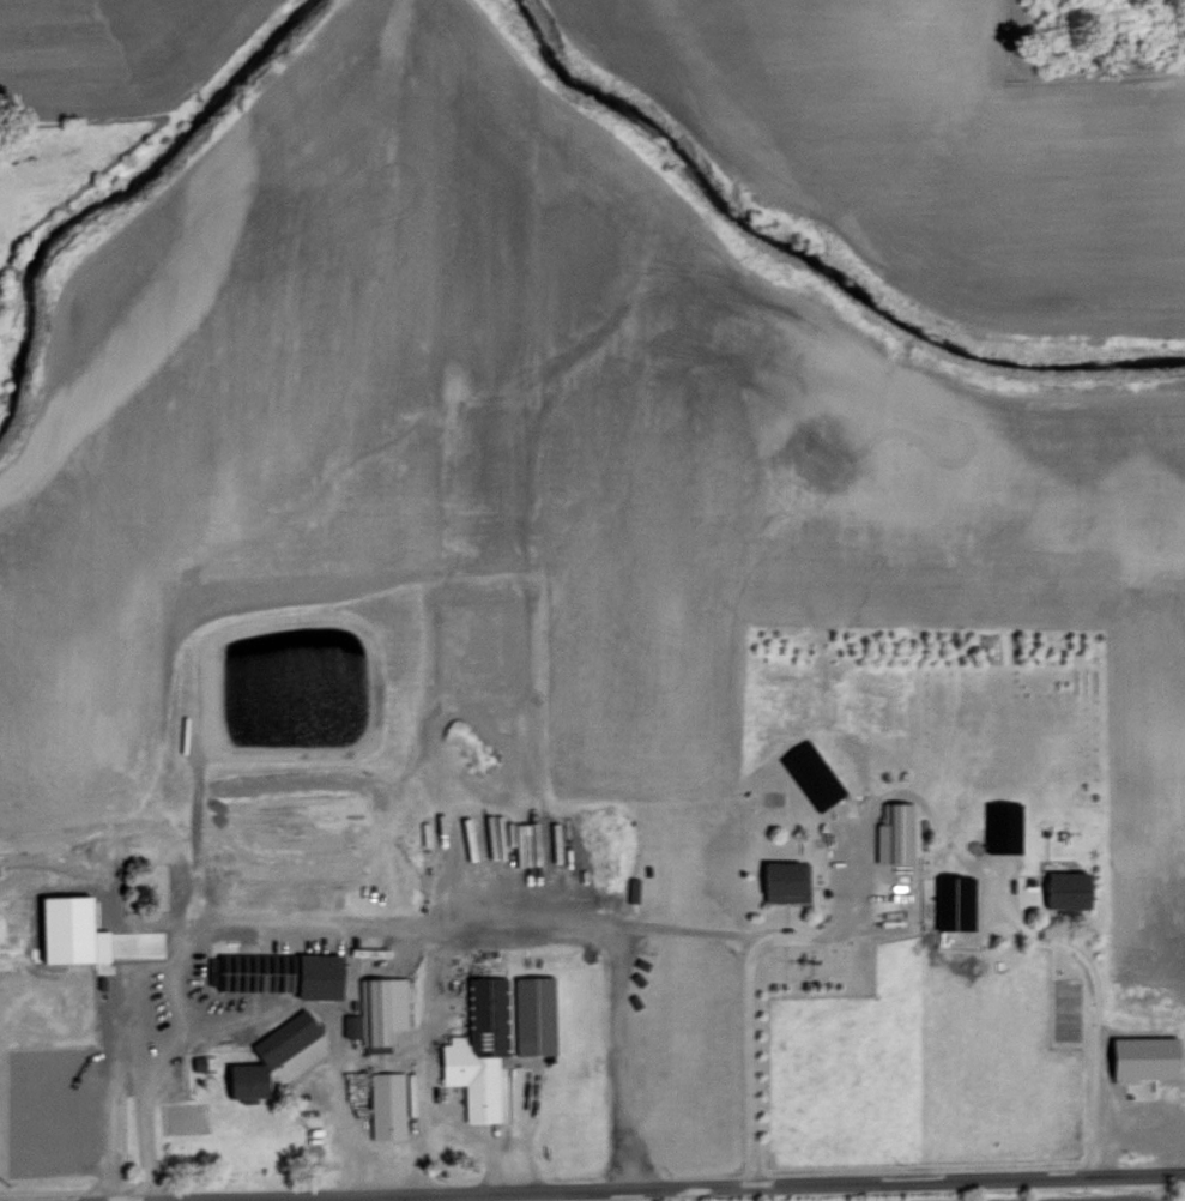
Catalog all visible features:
building: (810, 773)
road: (891, 791)
building: (1000, 825)
building: (894, 832)
building: (784, 880)
park: (152, 885)
building: (1065, 887)
building: (955, 900)
building: (67, 929)
road: (262, 933)
building: (278, 971)
road: (617, 997)
building: (231, 1007)
building: (377, 1008)
building: (532, 1013)
building: (477, 1046)
building: (267, 1055)
building: (1141, 1056)
road: (114, 1087)
building: (385, 1103)
road: (341, 1123)
road: (1183, 1187)
road: (665, 1189)

